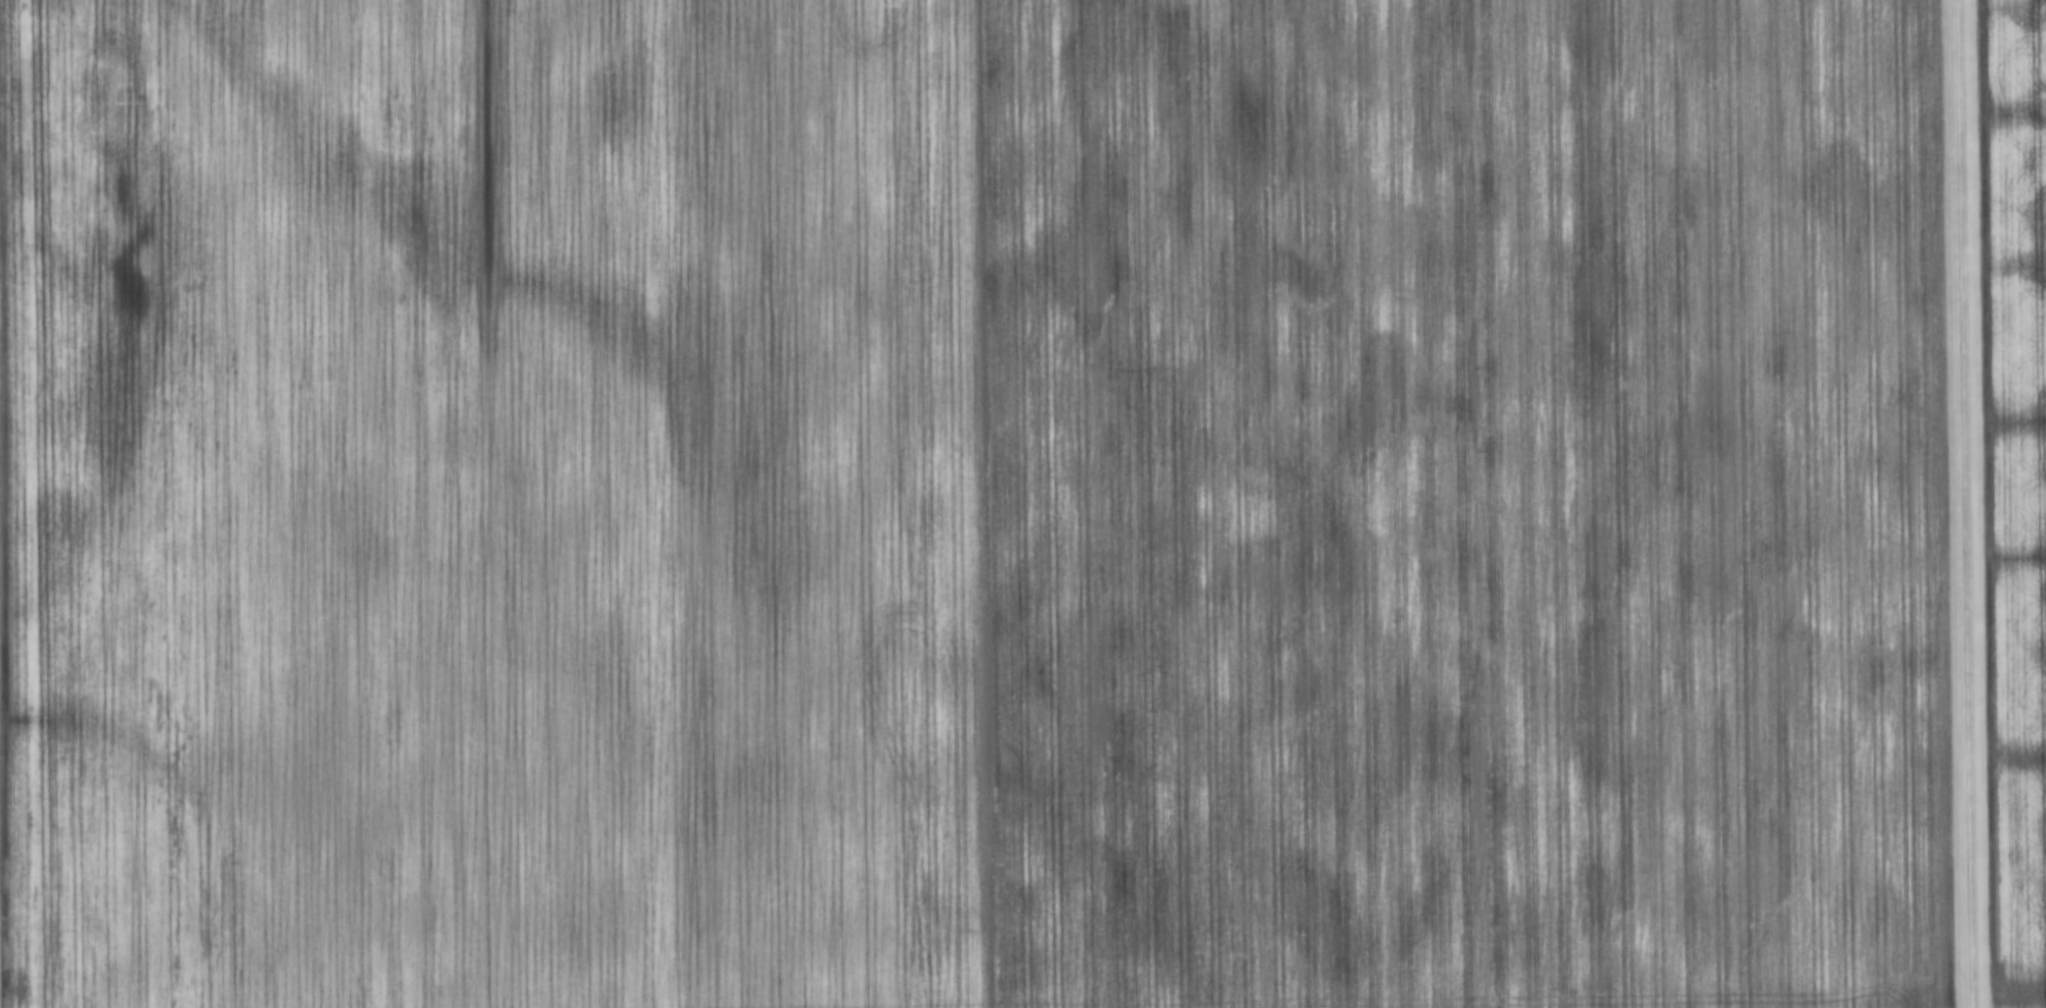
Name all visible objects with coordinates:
road: (1965, 504)

